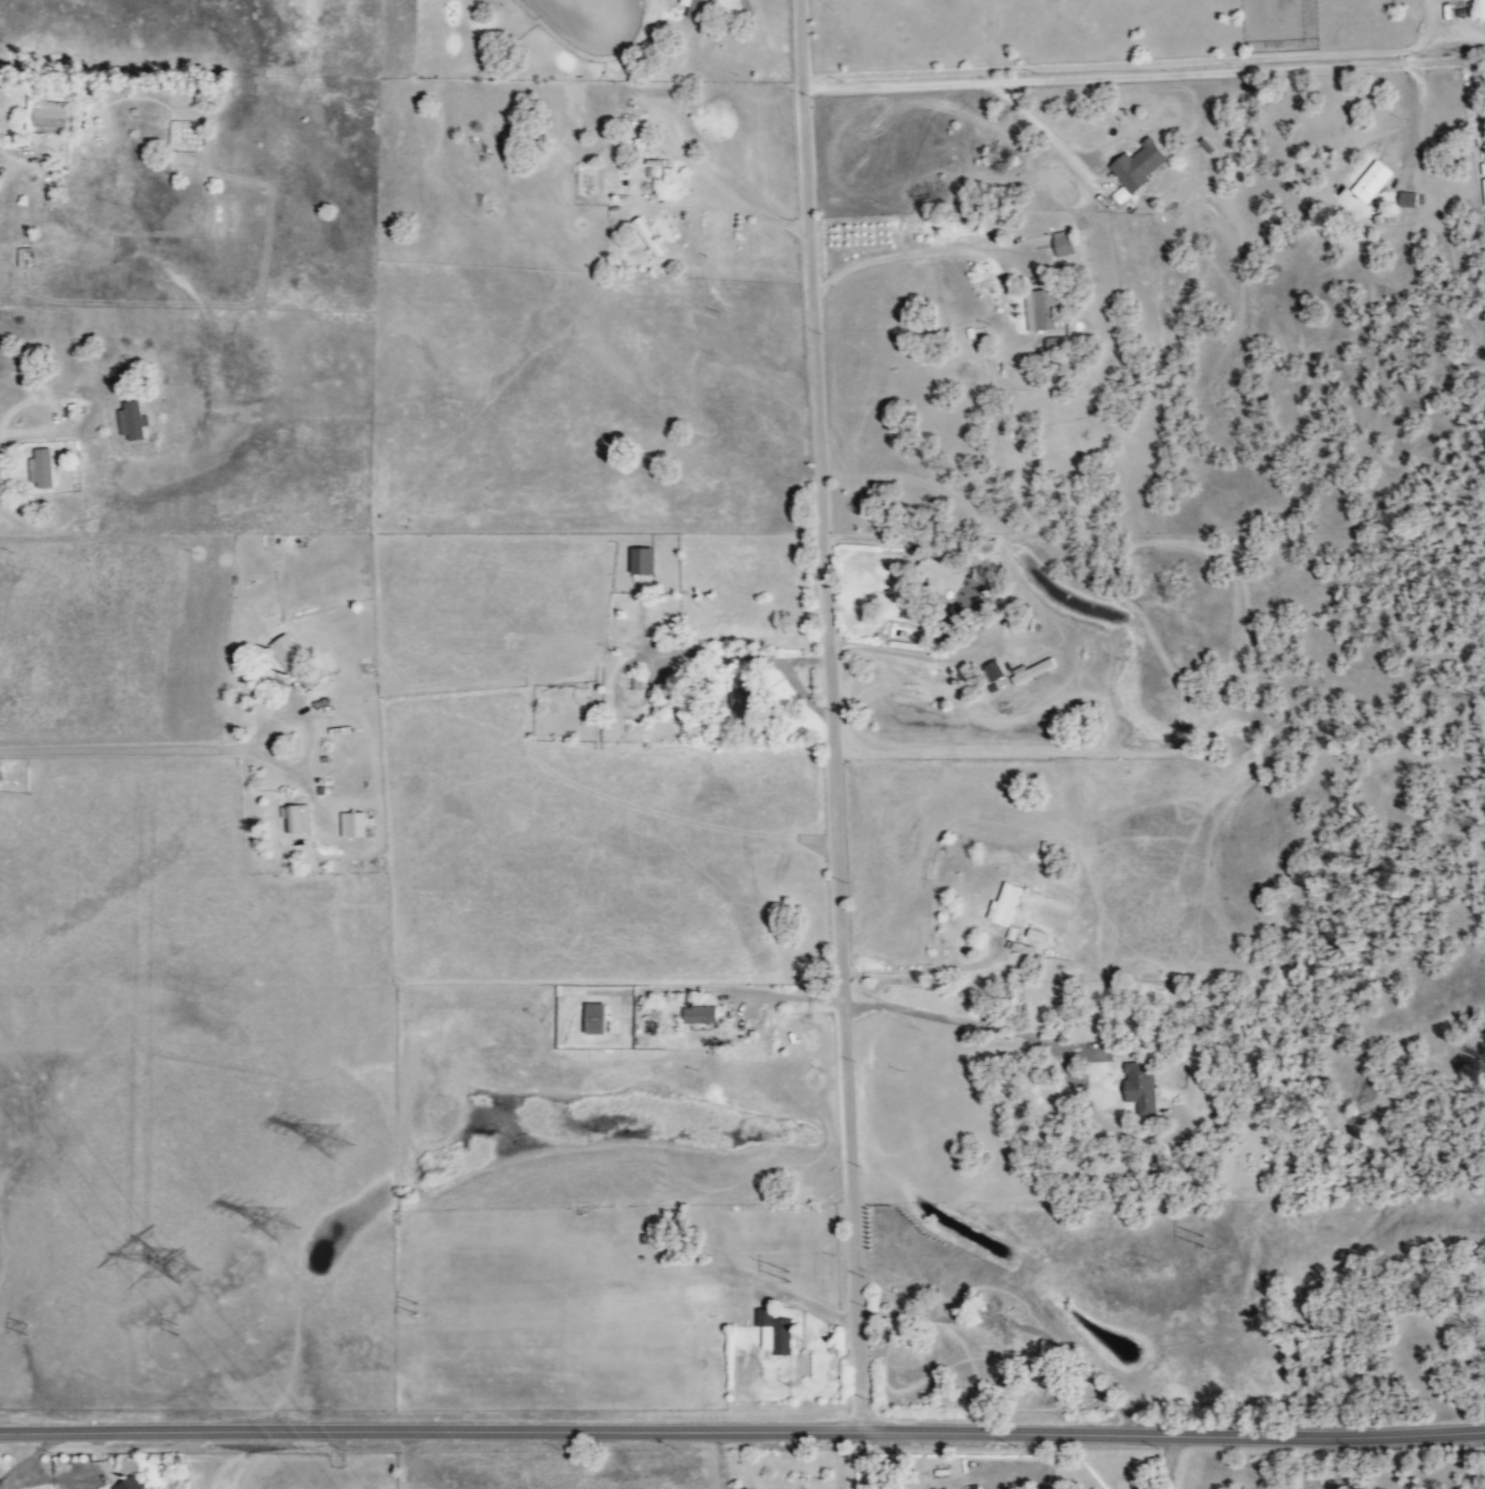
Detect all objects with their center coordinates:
building: (699, 8)
road: (1134, 62)
road: (1164, 74)
road: (1415, 104)
building: (45, 112)
road: (1044, 134)
road: (1022, 143)
building: (1139, 164)
building: (1368, 180)
building: (1121, 193)
building: (1405, 198)
building: (1064, 242)
road: (916, 252)
building: (1043, 309)
building: (133, 419)
building: (42, 467)
building: (644, 560)
building: (955, 622)
building: (288, 653)
building: (996, 670)
building: (1034, 671)
building: (311, 680)
building: (744, 698)
road: (832, 716)
road: (309, 744)
road: (123, 750)
building: (296, 818)
building: (353, 824)
building: (1007, 903)
road: (940, 971)
road: (777, 995)
building: (701, 1014)
building: (596, 1018)
road: (975, 1023)
building: (1137, 1085)
power tower: (344, 1135)
power tower: (269, 1227)
power tower: (1196, 1245)
power tower: (203, 1262)
power tower: (786, 1277)
power tower: (450, 1309)
building: (770, 1330)
power tower: (21, 1333)
power tower: (177, 1333)
road: (742, 1432)
building: (125, 1483)

